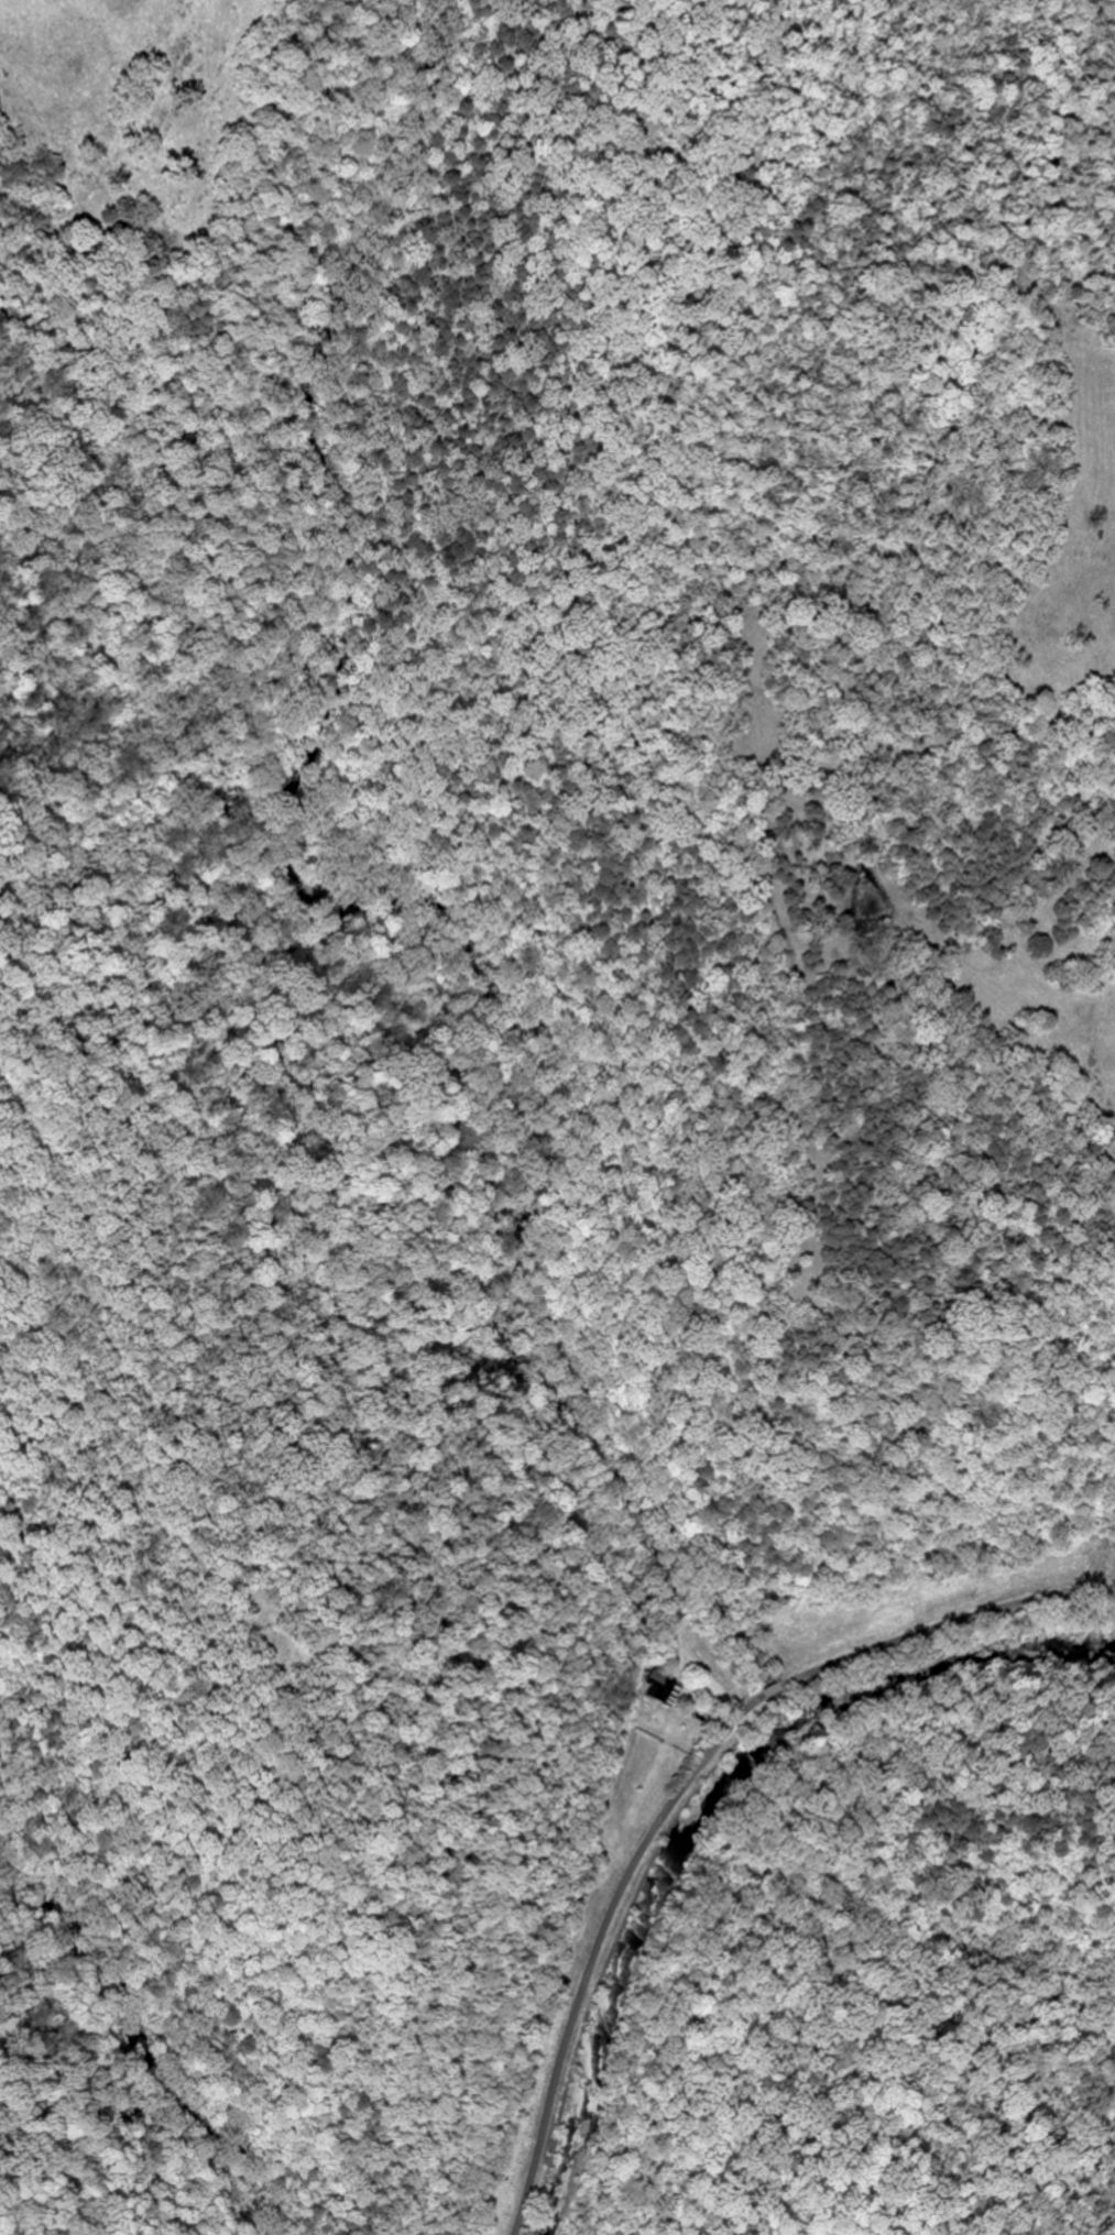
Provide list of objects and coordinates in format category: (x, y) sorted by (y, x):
road: (687, 1785)

